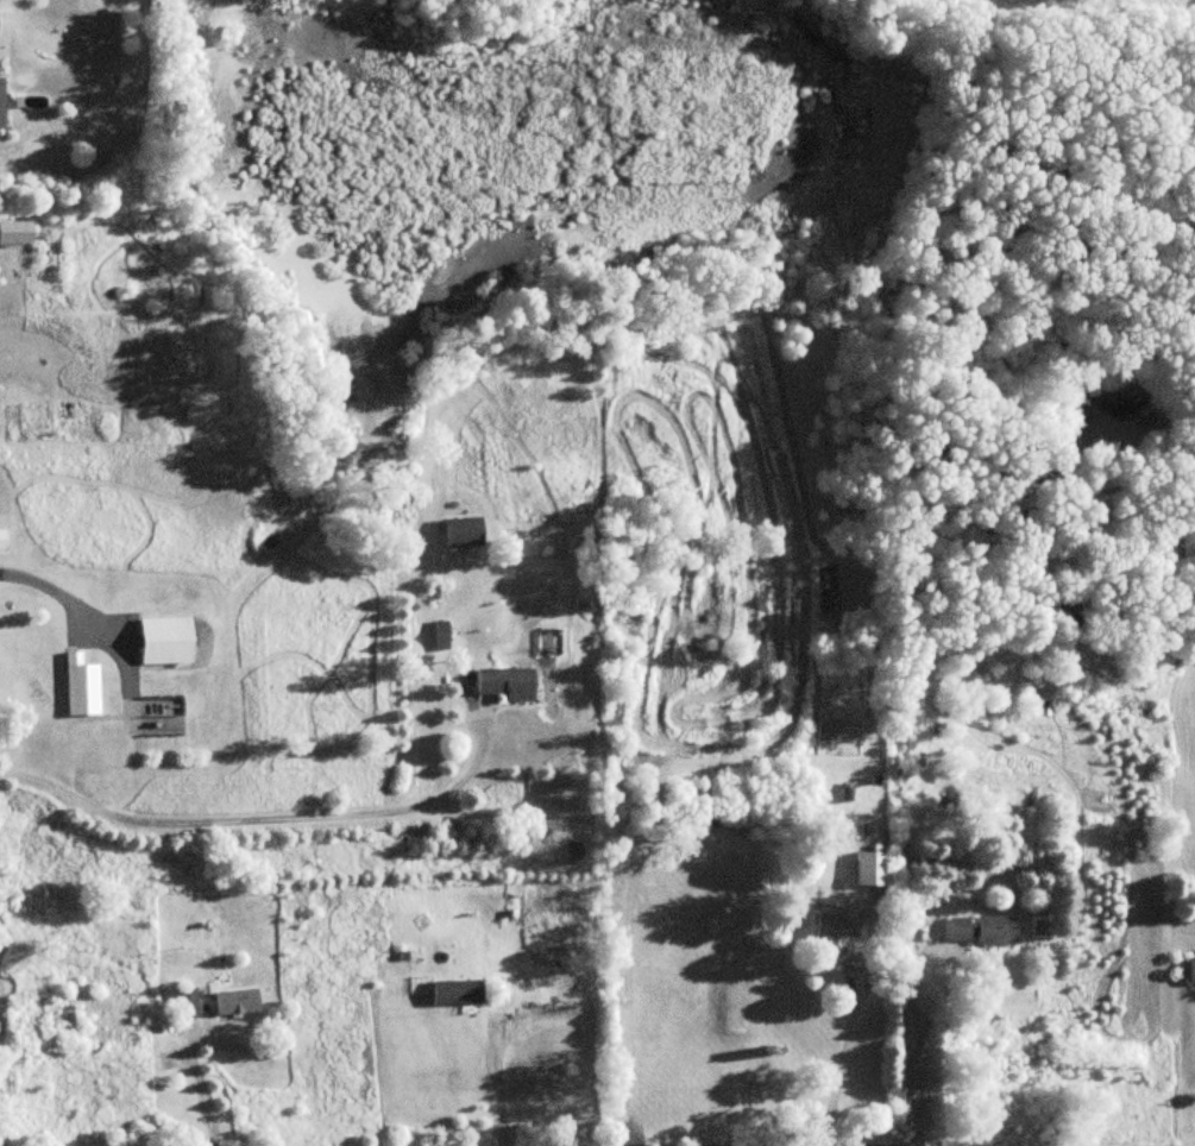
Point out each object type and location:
building: (459, 531)
building: (0, 539)
road: (96, 629)
building: (438, 634)
building: (162, 640)
building: (501, 682)
building: (78, 686)
road: (259, 818)
building: (868, 868)
building: (835, 924)
building: (979, 931)
road: (941, 950)
building: (1190, 972)
building: (454, 993)
building: (234, 1002)
building: (184, 1003)
road: (842, 1053)
road: (497, 1084)
road: (200, 1088)
road: (916, 1093)

